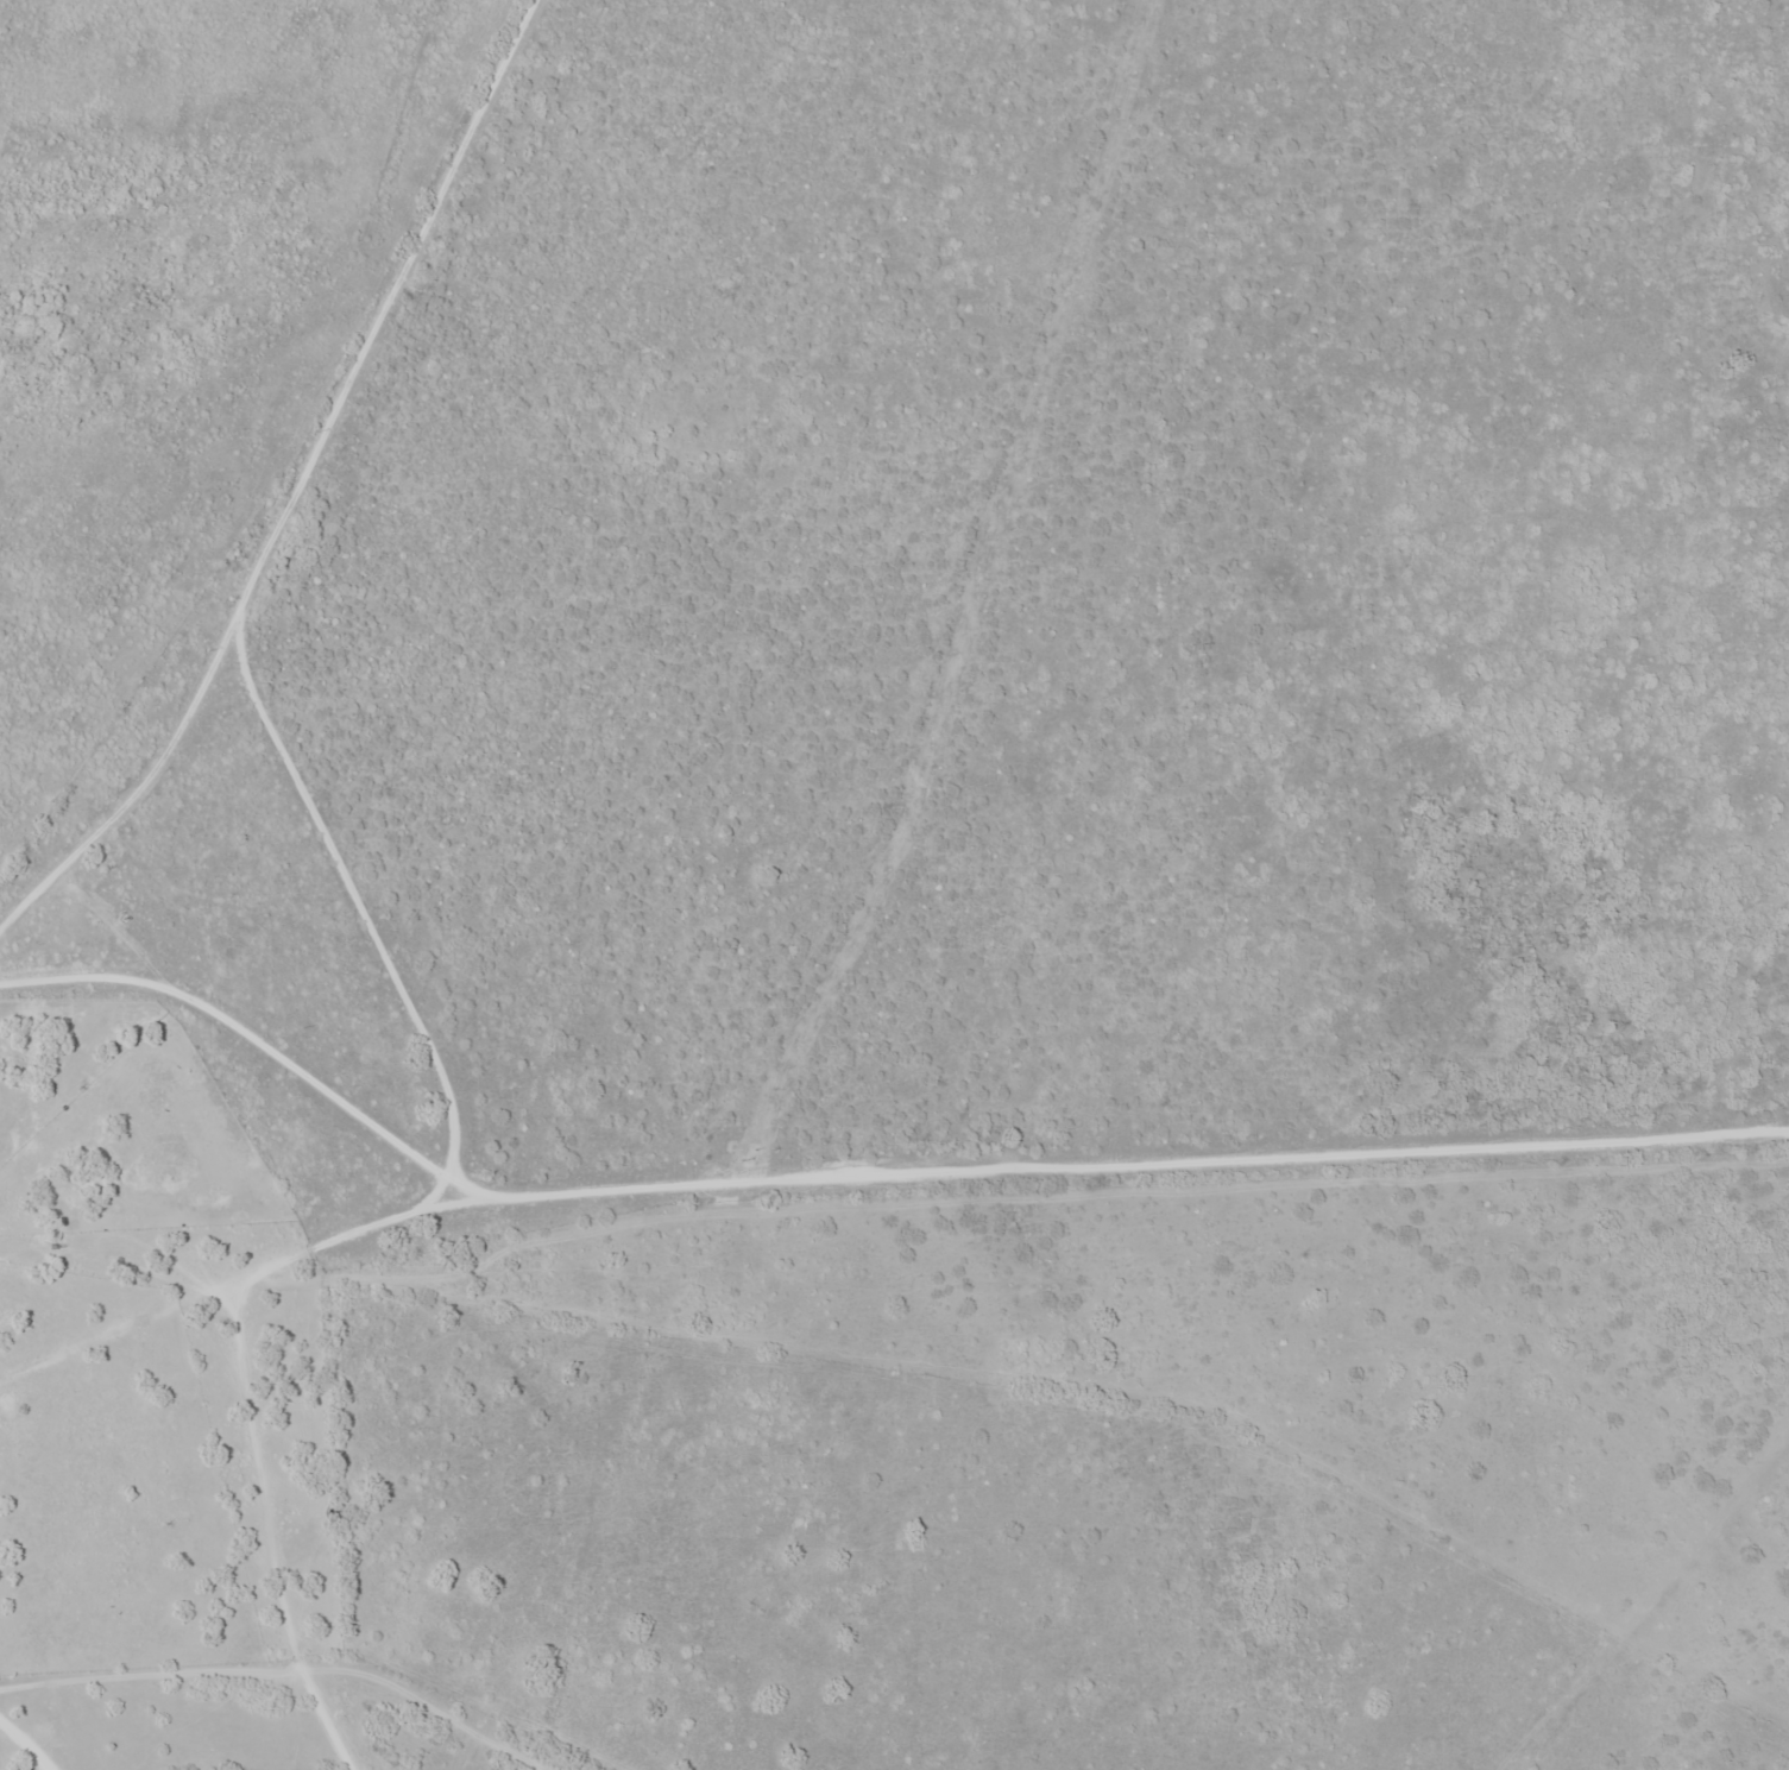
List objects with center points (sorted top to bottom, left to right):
road: (227, 1047)
road: (466, 1196)
road: (225, 1285)
road: (577, 1488)
road: (1, 1760)

